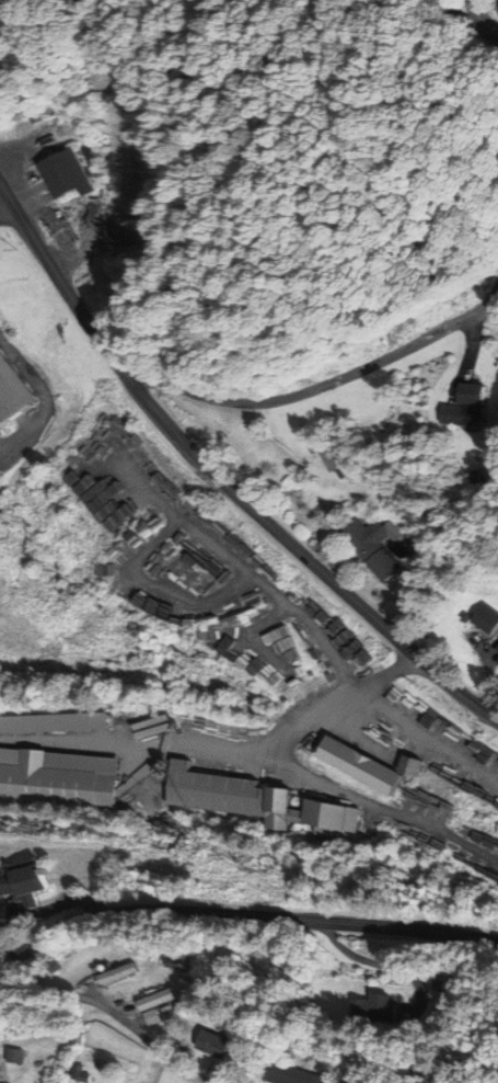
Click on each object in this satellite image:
road: (458, 16)
road: (482, 16)
road: (487, 31)
building: (80, 173)
road: (5, 205)
road: (317, 388)
building: (14, 392)
road: (43, 397)
building: (463, 408)
building: (335, 457)
road: (218, 477)
building: (377, 549)
building: (484, 620)
building: (496, 648)
road: (232, 752)
building: (362, 766)
building: (58, 782)
building: (247, 801)
building: (22, 882)
road: (243, 916)
building: (112, 976)
building: (151, 1007)
building: (368, 1008)
road: (114, 1012)
building: (205, 1046)
building: (16, 1056)
building: (81, 1073)
building: (286, 1075)

